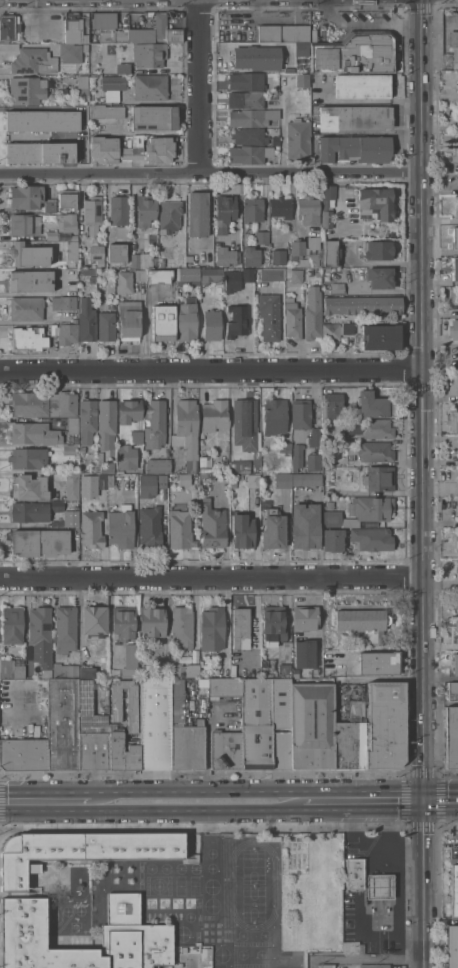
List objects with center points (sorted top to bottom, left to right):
road: (35, 15)
building: (103, 19)
building: (9, 27)
building: (74, 29)
building: (165, 29)
building: (282, 33)
building: (114, 35)
building: (142, 35)
building: (302, 48)
building: (454, 49)
building: (71, 52)
building: (355, 53)
building: (149, 54)
building: (256, 57)
building: (34, 61)
building: (123, 68)
building: (289, 69)
building: (303, 80)
building: (246, 81)
building: (82, 85)
building: (362, 85)
road: (202, 86)
building: (457, 86)
building: (113, 87)
building: (151, 87)
building: (27, 90)
building: (246, 99)
road: (41, 107)
building: (106, 111)
building: (252, 117)
building: (355, 117)
building: (154, 118)
building: (42, 120)
building: (250, 136)
building: (298, 139)
building: (275, 140)
building: (355, 148)
building: (104, 149)
building: (133, 149)
building: (161, 149)
building: (40, 152)
building: (249, 154)
road: (211, 172)
building: (26, 196)
building: (67, 198)
building: (376, 201)
building: (50, 204)
building: (327, 204)
building: (281, 206)
building: (145, 209)
building: (252, 209)
building: (308, 209)
building: (119, 210)
building: (93, 213)
building: (197, 213)
building: (169, 216)
building: (68, 223)
building: (24, 224)
building: (225, 229)
building: (123, 231)
building: (51, 235)
building: (67, 236)
building: (454, 238)
building: (263, 244)
building: (72, 250)
building: (306, 250)
building: (378, 250)
building: (96, 252)
building: (117, 252)
building: (331, 253)
building: (29, 254)
building: (251, 256)
building: (279, 256)
building: (135, 260)
building: (454, 268)
building: (140, 274)
building: (248, 274)
building: (272, 274)
building: (159, 275)
building: (211, 275)
building: (296, 275)
building: (86, 276)
building: (189, 276)
building: (380, 277)
building: (29, 280)
building: (232, 280)
building: (124, 281)
road: (423, 287)
building: (91, 288)
building: (337, 288)
building: (64, 302)
building: (362, 305)
building: (27, 308)
building: (313, 313)
building: (270, 316)
building: (187, 318)
building: (87, 319)
building: (129, 319)
building: (293, 319)
building: (237, 321)
building: (163, 322)
building: (212, 324)
building: (106, 326)
building: (454, 329)
building: (336, 331)
building: (65, 333)
building: (381, 337)
building: (28, 338)
road: (212, 372)
building: (44, 403)
building: (333, 405)
building: (375, 405)
building: (129, 410)
building: (301, 413)
building: (214, 415)
building: (275, 416)
building: (88, 420)
building: (452, 420)
building: (155, 423)
building: (245, 423)
building: (72, 424)
building: (107, 424)
building: (369, 428)
building: (188, 430)
building: (35, 433)
building: (137, 437)
building: (314, 438)
building: (285, 447)
building: (70, 449)
building: (83, 449)
building: (374, 451)
building: (297, 456)
building: (127, 457)
building: (29, 458)
building: (314, 461)
building: (205, 463)
building: (105, 464)
building: (159, 465)
building: (239, 466)
building: (224, 476)
building: (379, 478)
building: (307, 479)
building: (110, 480)
building: (283, 480)
building: (253, 481)
building: (93, 484)
building: (150, 484)
building: (234, 485)
building: (72, 486)
building: (30, 487)
building: (329, 504)
building: (457, 504)
building: (368, 509)
building: (29, 511)
building: (71, 518)
building: (332, 518)
building: (212, 525)
building: (305, 525)
building: (121, 527)
building: (150, 527)
building: (91, 529)
building: (181, 529)
building: (243, 530)
building: (273, 530)
building: (372, 538)
building: (333, 539)
building: (54, 547)
building: (457, 567)
road: (212, 577)
building: (457, 609)
building: (305, 618)
building: (95, 620)
building: (152, 621)
building: (123, 623)
building: (456, 623)
building: (13, 625)
building: (273, 625)
building: (360, 625)
building: (182, 627)
building: (66, 628)
building: (241, 628)
building: (212, 629)
building: (457, 633)
building: (41, 635)
building: (304, 653)
building: (130, 660)
building: (379, 663)
building: (455, 664)
building: (12, 668)
building: (65, 669)
building: (186, 669)
building: (285, 669)
building: (87, 671)
road: (441, 677)
building: (224, 686)
road: (425, 688)
building: (36, 691)
building: (453, 691)
road: (18, 707)
building: (132, 709)
building: (155, 722)
building: (266, 723)
building: (63, 724)
building: (312, 725)
building: (385, 725)
building: (6, 729)
building: (91, 730)
building: (185, 733)
building: (451, 737)
building: (351, 738)
building: (226, 750)
building: (123, 753)
building: (24, 754)
road: (441, 800)
road: (362, 801)
traffic signals: (425, 801)
road: (48, 802)
road: (198, 802)
road: (386, 824)
road: (371, 847)
building: (80, 850)
building: (355, 873)
road: (425, 884)
building: (380, 886)
building: (454, 887)
road: (398, 904)
building: (137, 936)
building: (452, 946)
building: (349, 947)
building: (184, 949)
building: (206, 954)
road: (366, 961)
building: (327, 966)
building: (374, 966)

